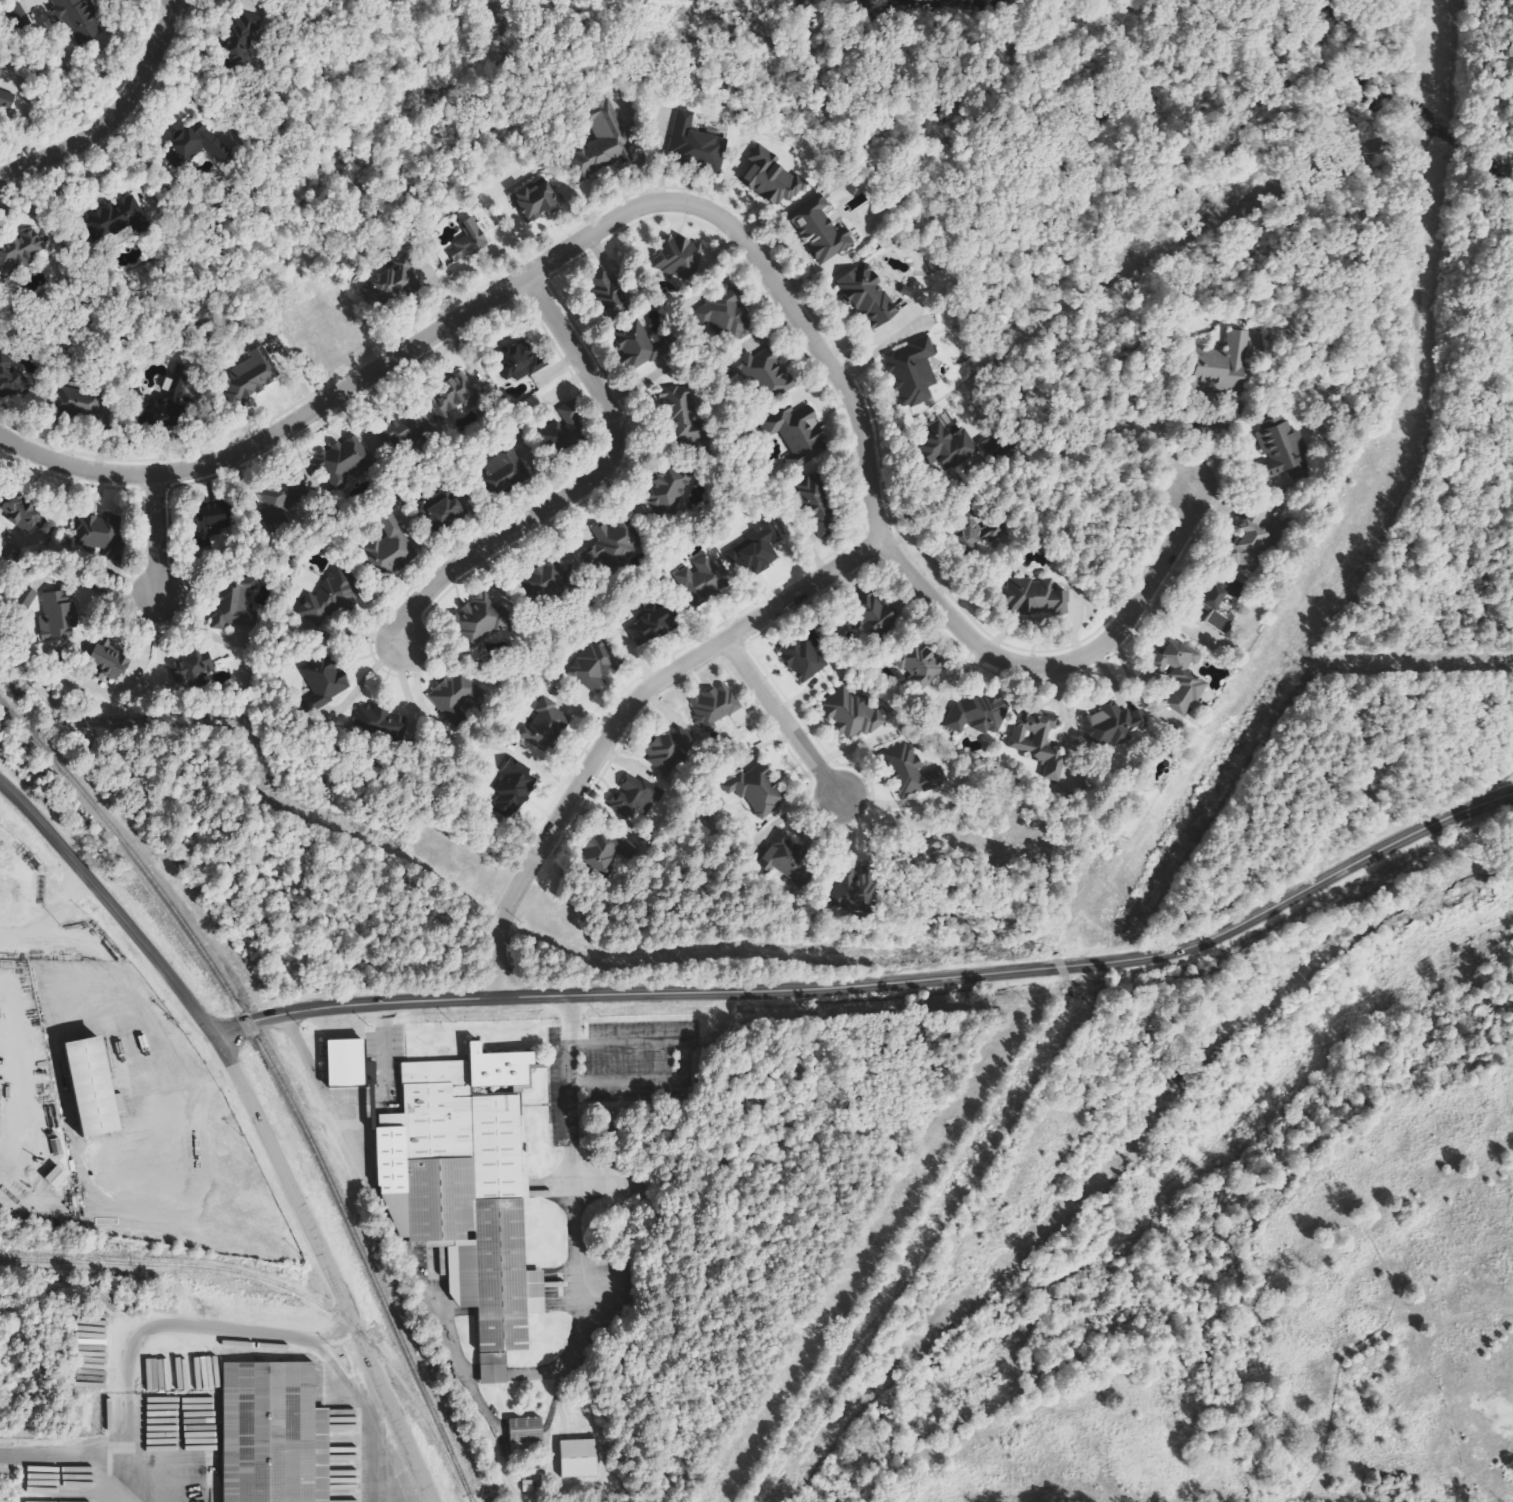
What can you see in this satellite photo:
building: (78, 20)
building: (242, 38)
building: (1, 72)
building: (6, 99)
road: (116, 118)
building: (601, 139)
building: (695, 141)
building: (195, 146)
building: (772, 178)
building: (537, 200)
building: (115, 217)
building: (820, 231)
building: (468, 242)
building: (21, 250)
building: (679, 259)
road: (523, 276)
building: (388, 281)
building: (606, 296)
building: (867, 296)
building: (726, 314)
building: (639, 346)
building: (519, 362)
building: (1221, 365)
building: (761, 371)
building: (913, 372)
building: (251, 377)
building: (12, 380)
building: (171, 403)
building: (678, 408)
building: (442, 410)
building: (559, 429)
building: (798, 434)
building: (947, 444)
building: (1280, 449)
building: (341, 462)
building: (505, 463)
building: (670, 486)
road: (575, 491)
building: (444, 511)
building: (19, 515)
building: (213, 521)
building: (100, 534)
building: (978, 535)
building: (616, 539)
road: (152, 541)
building: (1247, 547)
building: (390, 548)
building: (753, 551)
building: (590, 559)
building: (701, 579)
building: (549, 580)
building: (25, 596)
building: (1033, 596)
building: (328, 600)
building: (232, 607)
building: (1217, 610)
building: (877, 616)
building: (56, 617)
building: (479, 619)
building: (650, 623)
building: (803, 660)
building: (117, 662)
road: (1060, 664)
building: (593, 666)
building: (919, 666)
building: (1180, 676)
building: (456, 699)
building: (714, 707)
building: (852, 714)
building: (976, 714)
road: (618, 715)
road: (779, 719)
building: (544, 725)
building: (1110, 725)
building: (1037, 742)
building: (669, 752)
building: (911, 770)
building: (514, 789)
building: (758, 791)
building: (637, 799)
building: (609, 851)
building: (786, 858)
building: (854, 893)
road: (107, 907)
road: (878, 984)
road: (686, 1059)
building: (346, 1062)
railway: (274, 1078)
building: (74, 1085)
building: (0, 1094)
building: (0, 1123)
building: (57, 1147)
building: (56, 1176)
building: (466, 1190)
road: (573, 1207)
railway: (88, 1260)
building: (443, 1261)
road: (323, 1268)
railway: (276, 1285)
building: (526, 1433)
building: (273, 1434)
building: (579, 1458)

